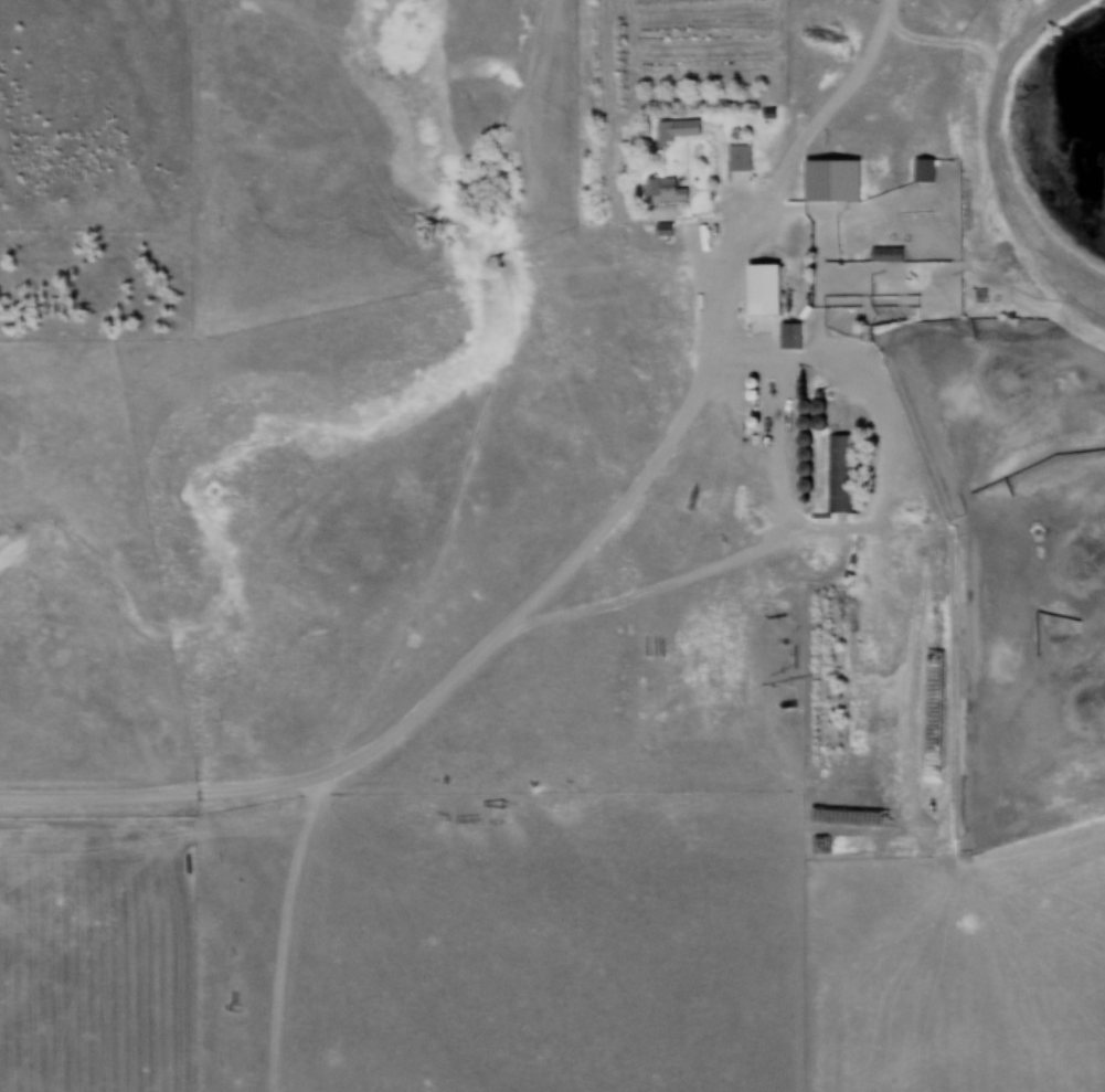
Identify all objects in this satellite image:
dam: (990, 126)
building: (668, 130)
building: (733, 156)
building: (923, 170)
building: (839, 179)
building: (665, 190)
building: (662, 230)
building: (763, 289)
building: (789, 336)
building: (840, 473)
road: (478, 687)

